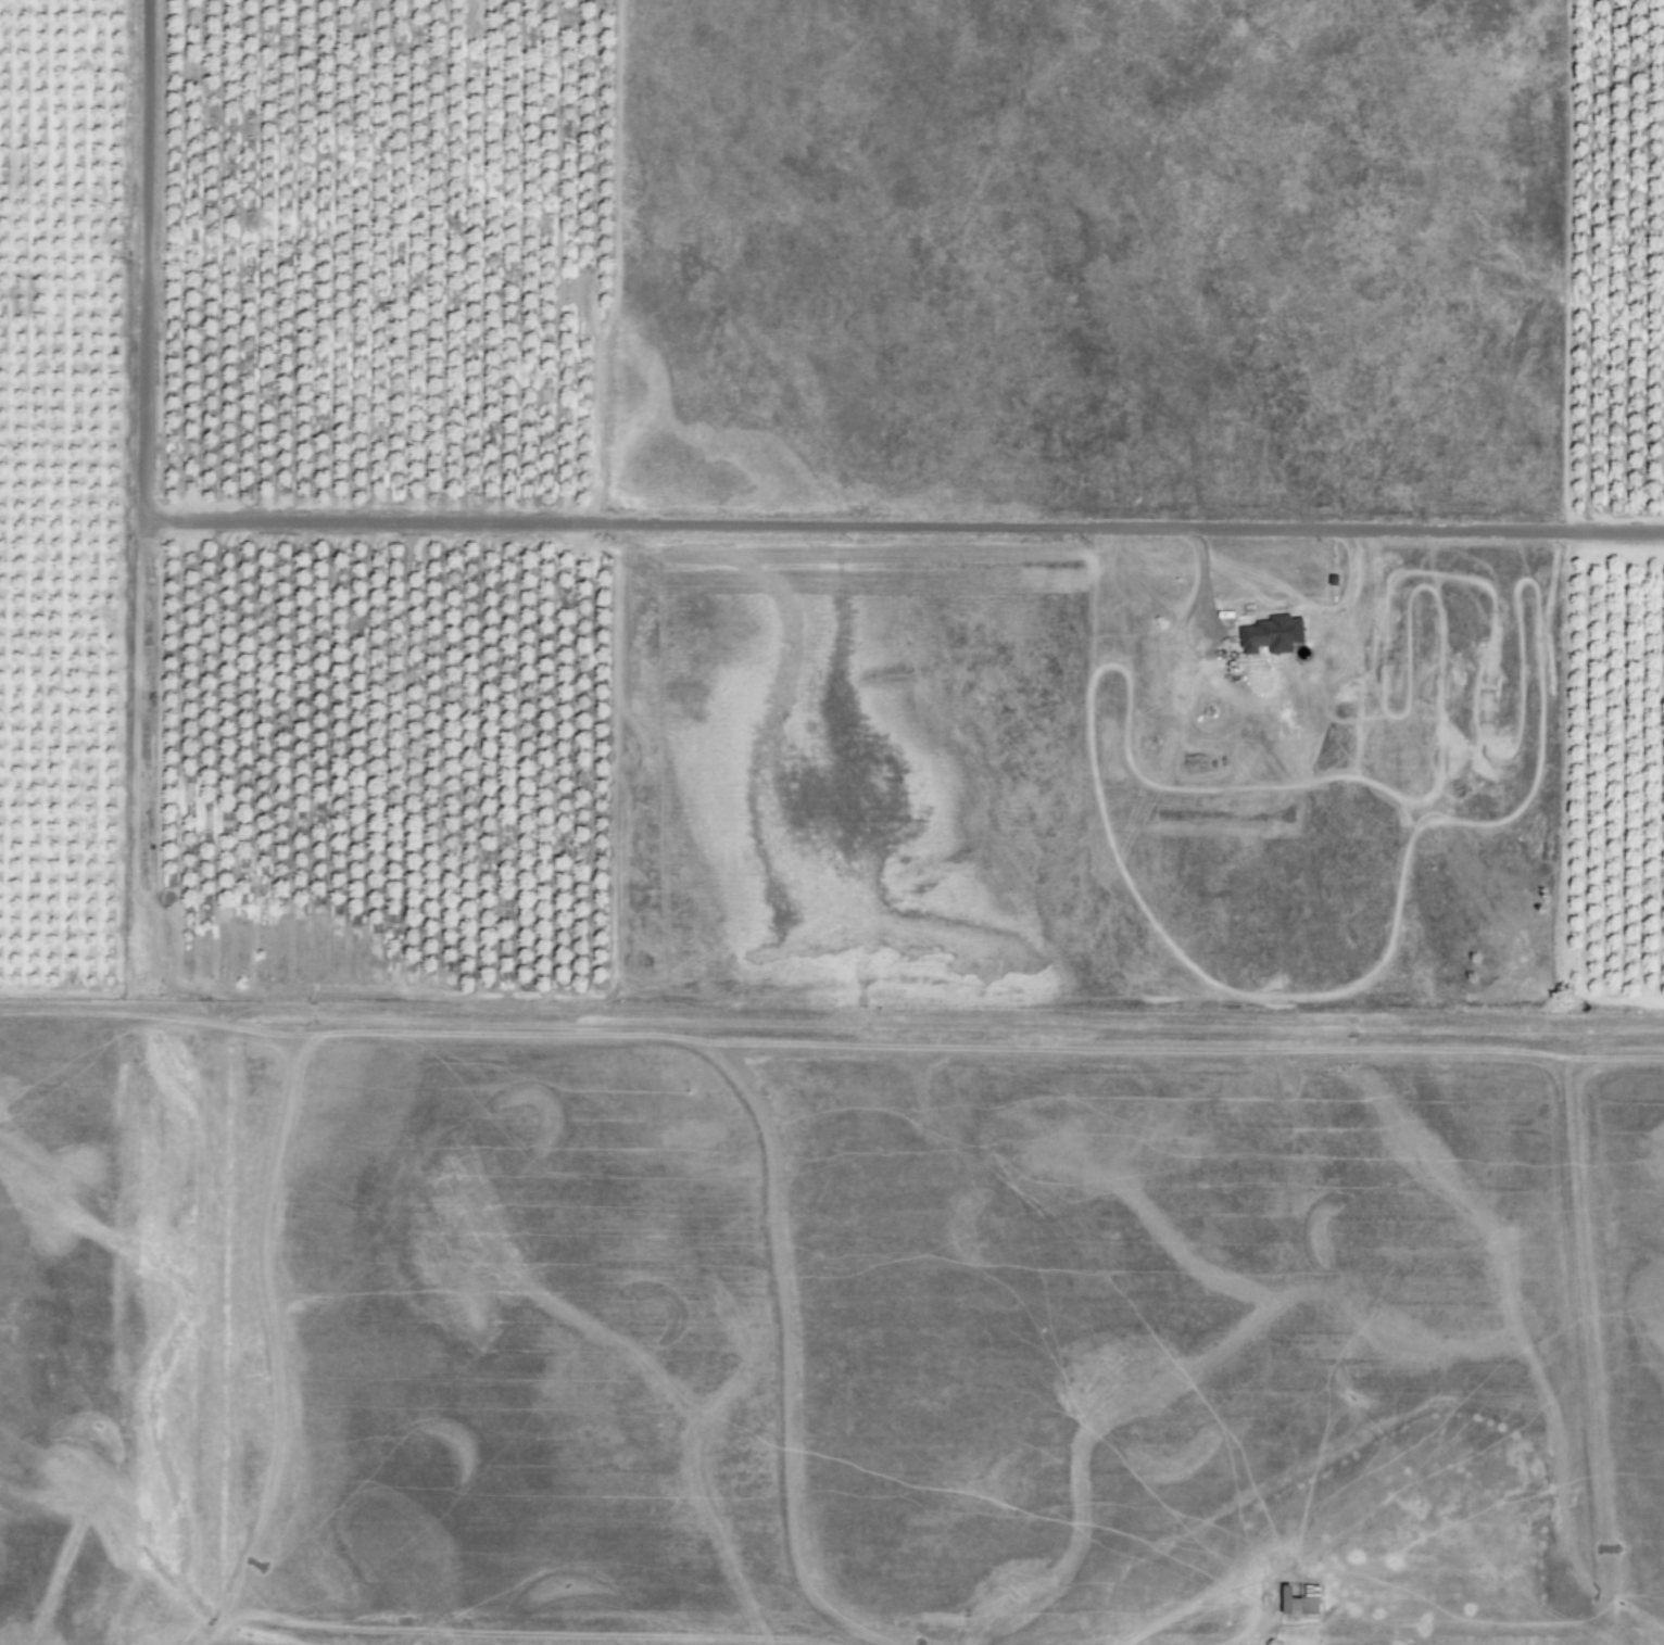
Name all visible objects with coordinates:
road: (142, 22)
road: (140, 280)
road: (900, 528)
building: (1273, 634)
building: (1295, 1600)

